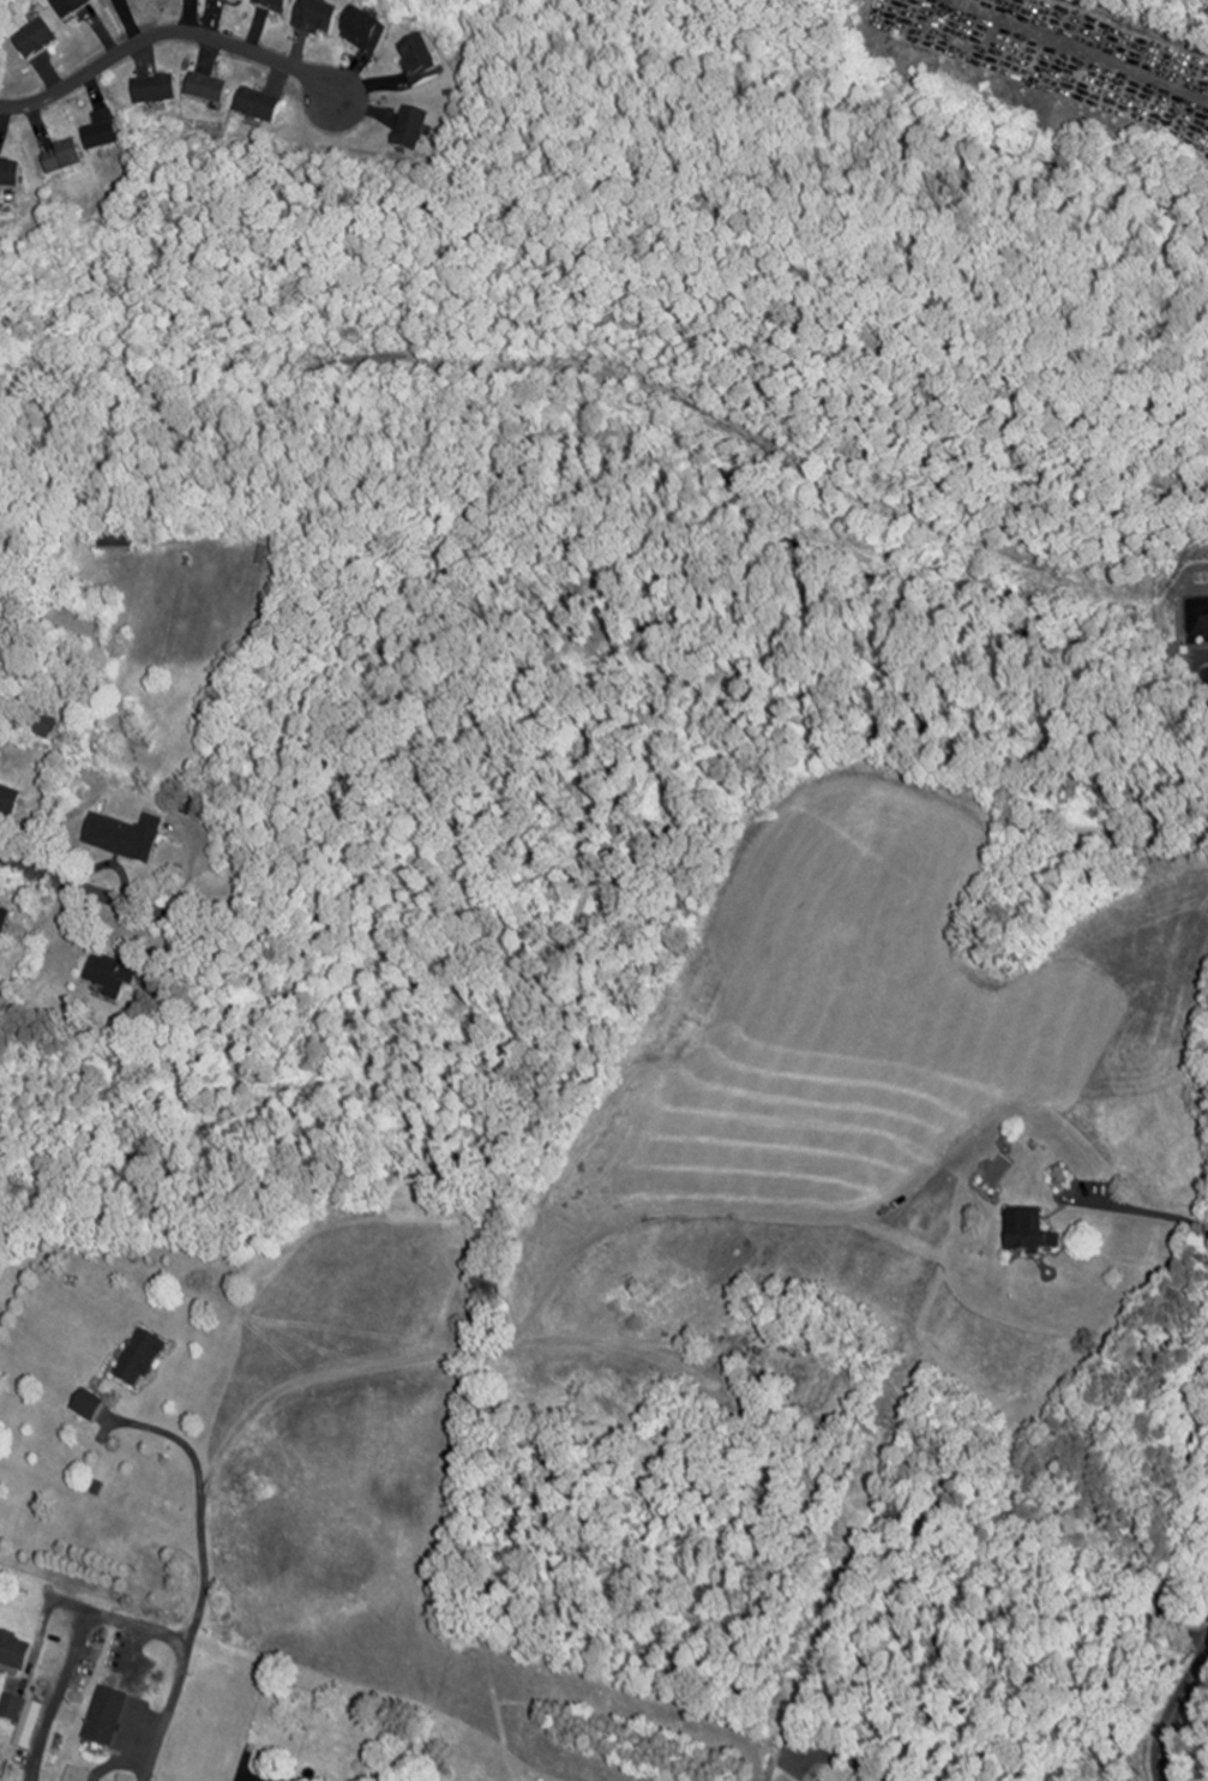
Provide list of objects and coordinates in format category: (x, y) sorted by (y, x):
building: (241, 0)
building: (275, 5)
building: (71, 6)
building: (318, 19)
road: (167, 32)
building: (367, 32)
building: (35, 38)
building: (420, 64)
building: (208, 90)
building: (156, 92)
building: (259, 107)
building: (413, 131)
building: (103, 133)
building: (64, 161)
building: (10, 176)
building: (262, 556)
building: (10, 802)
building: (122, 839)
road: (82, 882)
building: (5, 918)
building: (109, 978)
road: (1137, 1210)
building: (1030, 1237)
building: (140, 1361)
building: (88, 1407)
road: (1184, 1503)
road: (206, 1582)
road: (44, 1627)
road: (79, 1647)
road: (134, 1653)
building: (14, 1654)
road: (1177, 1715)
building: (107, 1719)
building: (23, 1721)
road: (829, 1759)
road: (124, 1761)
building: (78, 1774)
building: (276, 1780)

